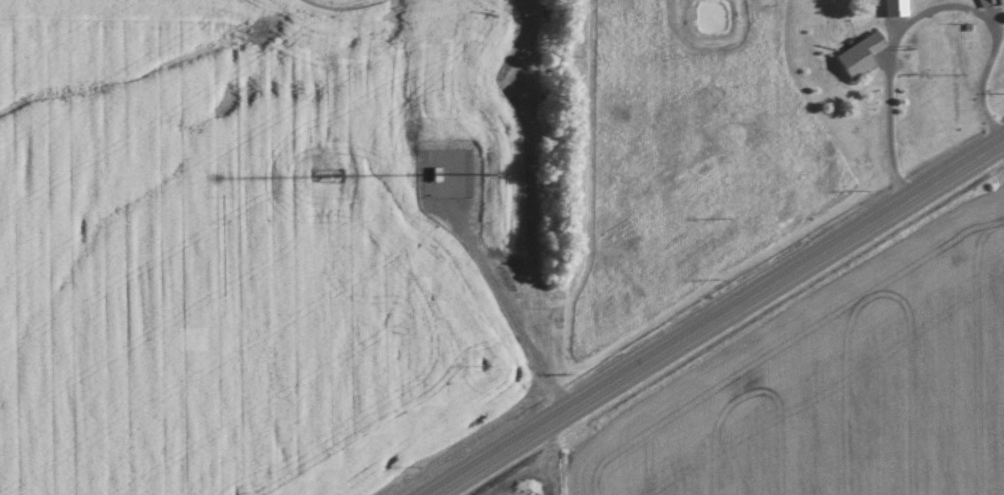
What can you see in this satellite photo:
building: (989, 3)
building: (895, 6)
road: (923, 15)
building: (860, 53)
road: (717, 318)

